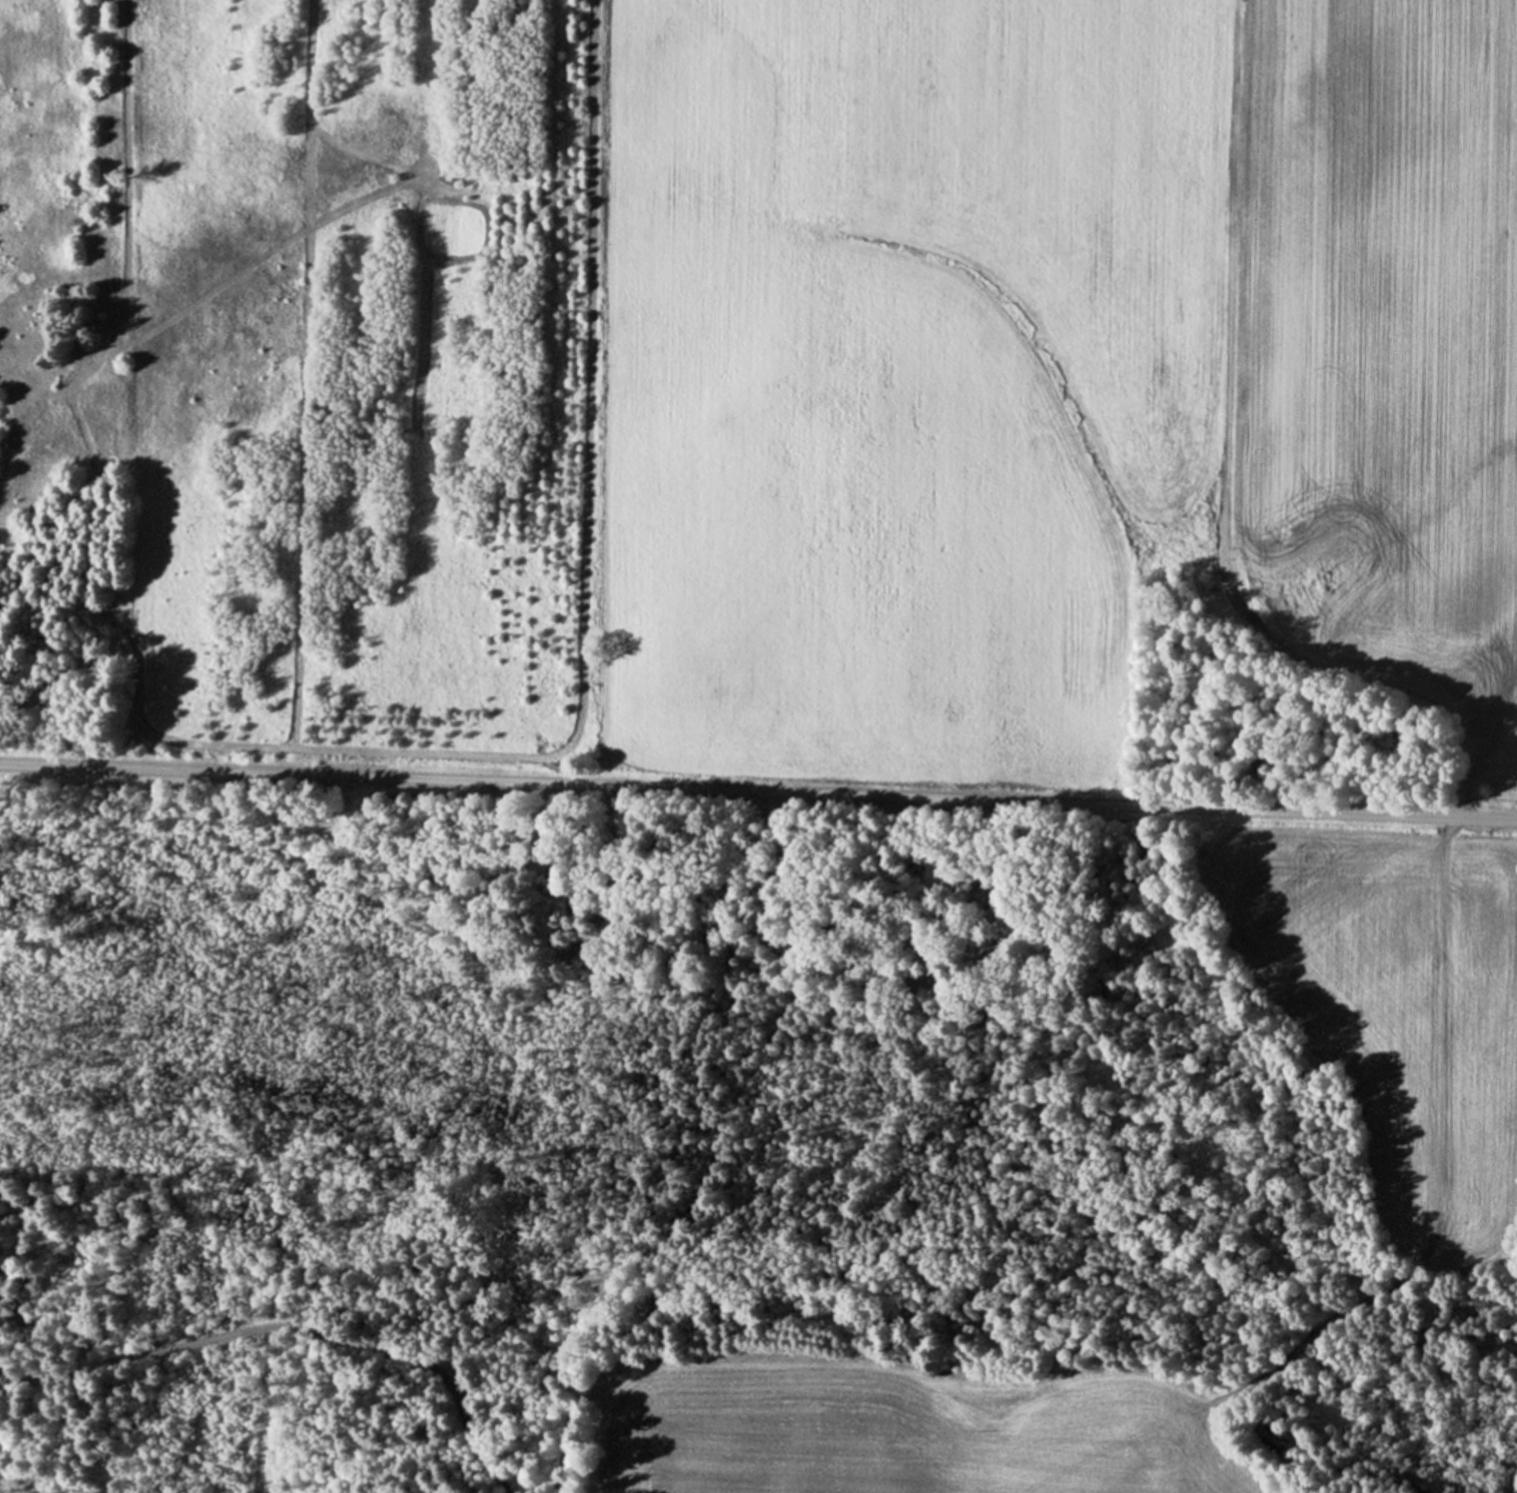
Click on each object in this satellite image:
road: (758, 793)

